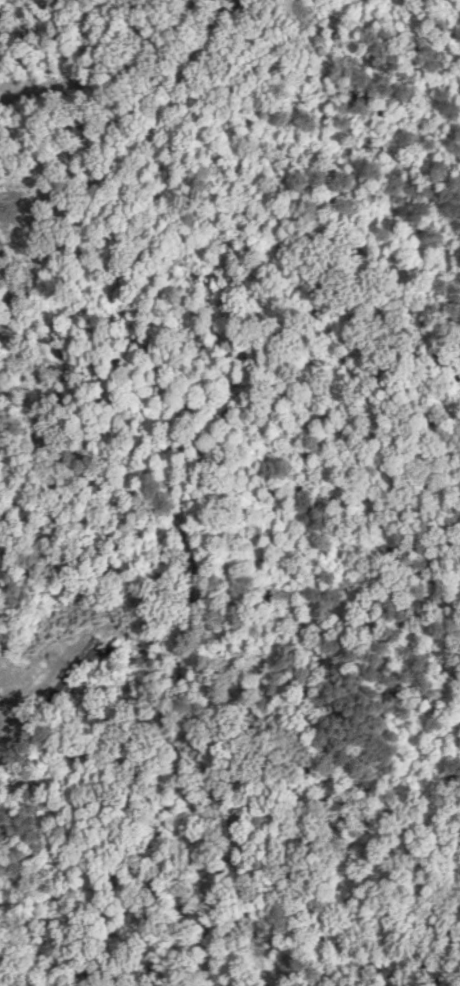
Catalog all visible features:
road: (128, 103)
road: (111, 472)
road: (173, 729)

